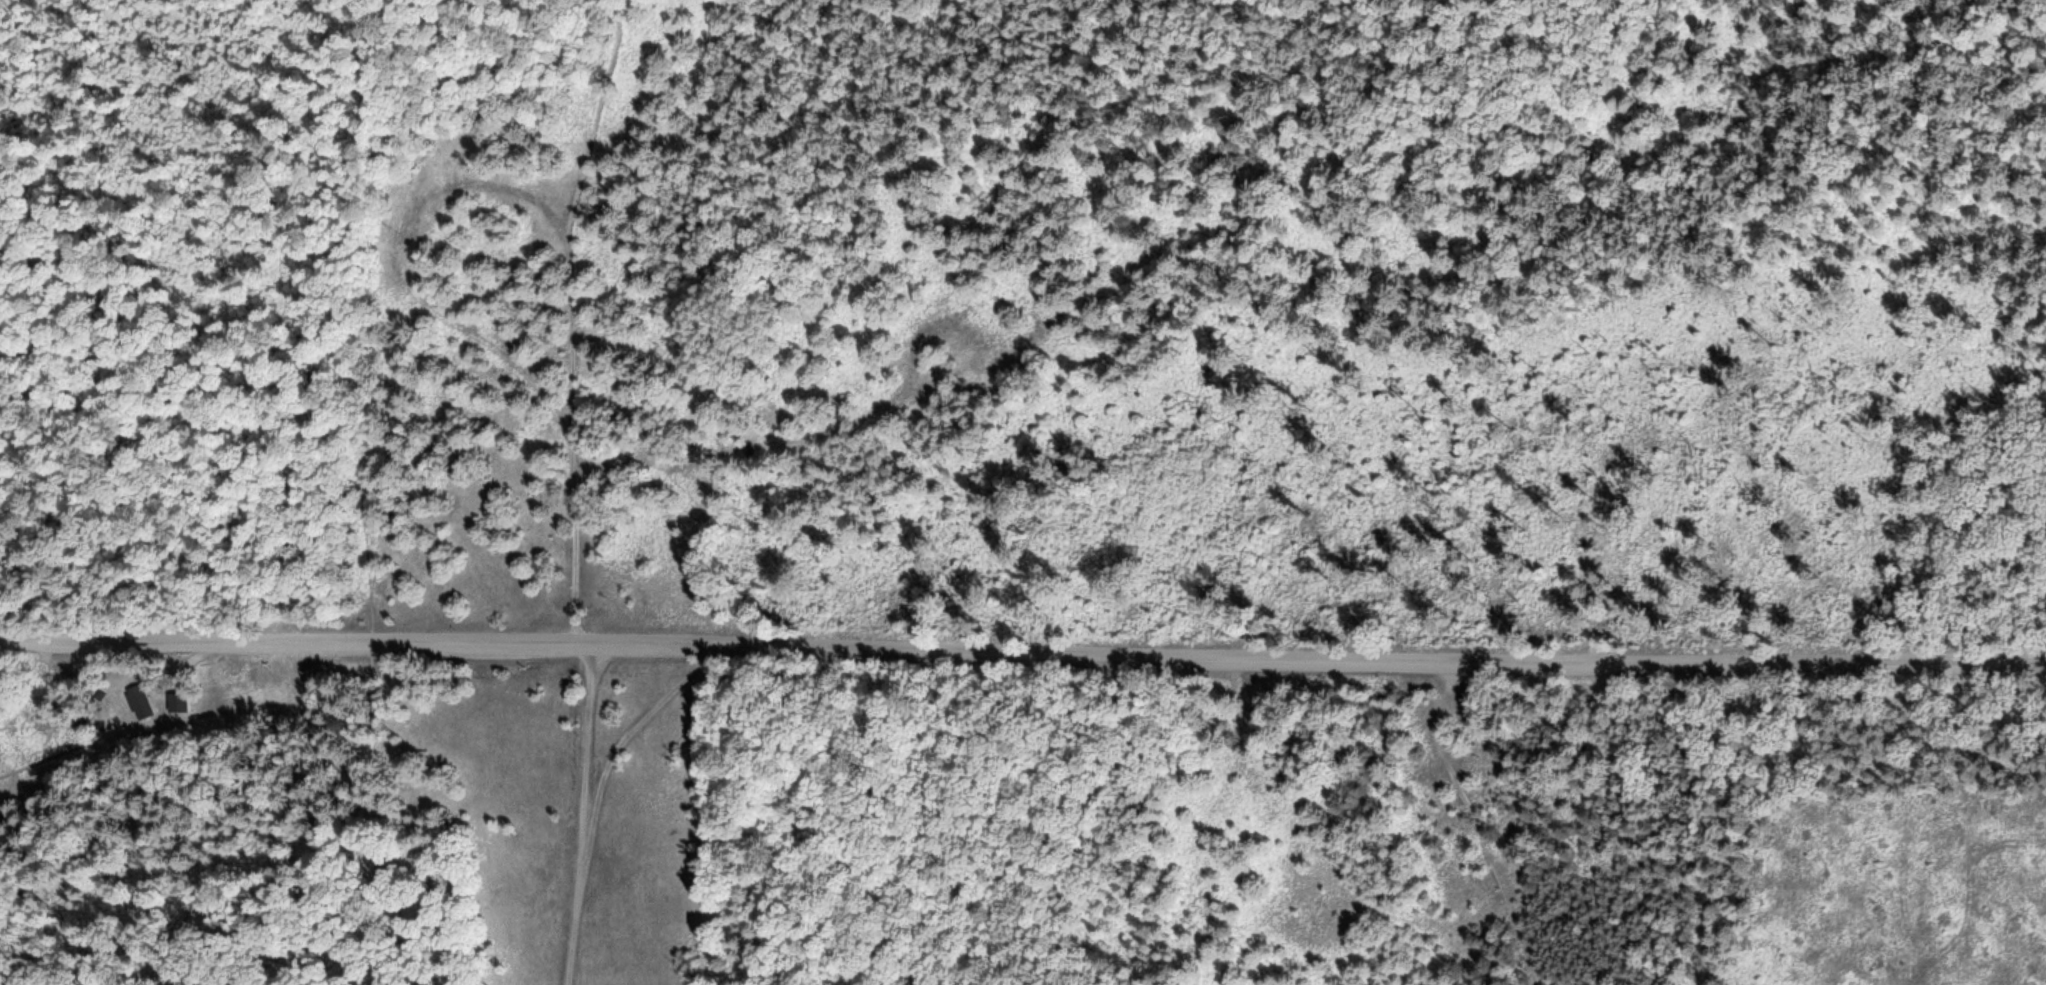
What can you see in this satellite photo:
road: (174, 91)
road: (570, 315)
road: (669, 474)
road: (1022, 648)
building: (142, 708)
road: (628, 736)
road: (583, 811)
road: (1474, 816)

